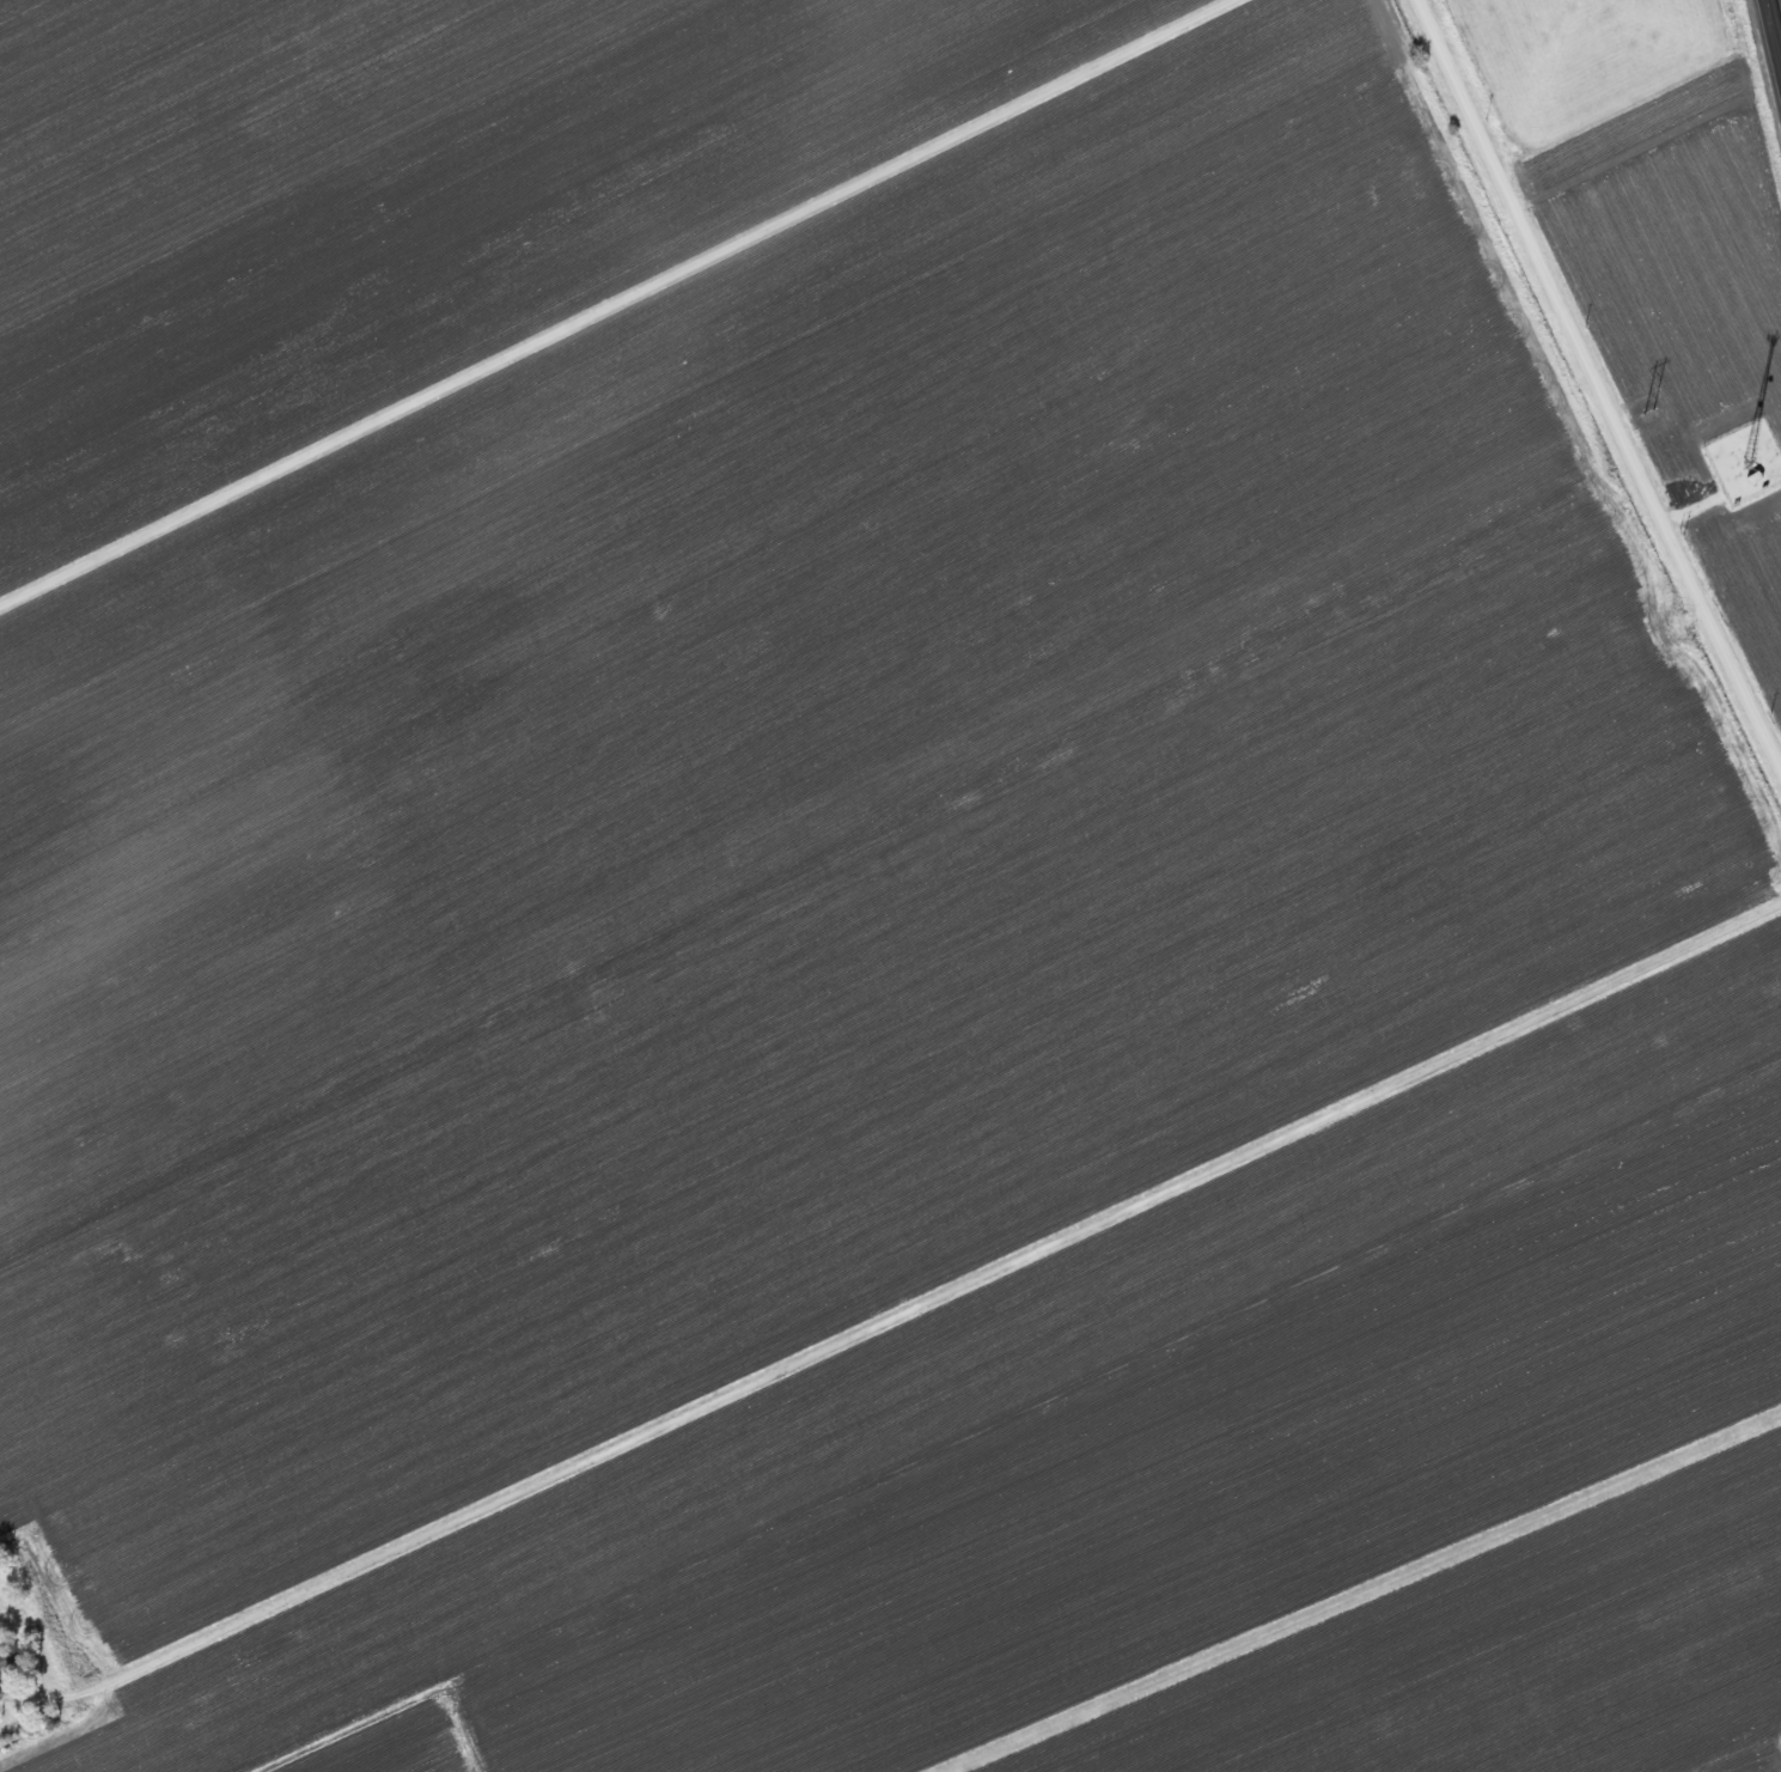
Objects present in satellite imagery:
road: (1774, 31)
road: (612, 300)
road: (1599, 380)
power tower: (1649, 410)
building: (1755, 477)
road: (892, 1314)
road: (1356, 1590)
building: (6, 1658)

